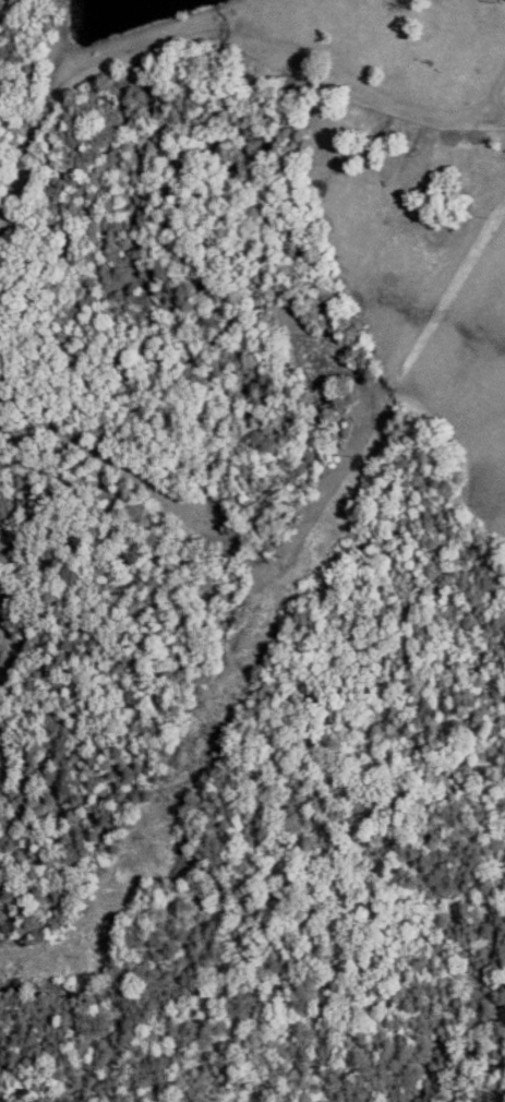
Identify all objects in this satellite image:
road: (225, 35)

